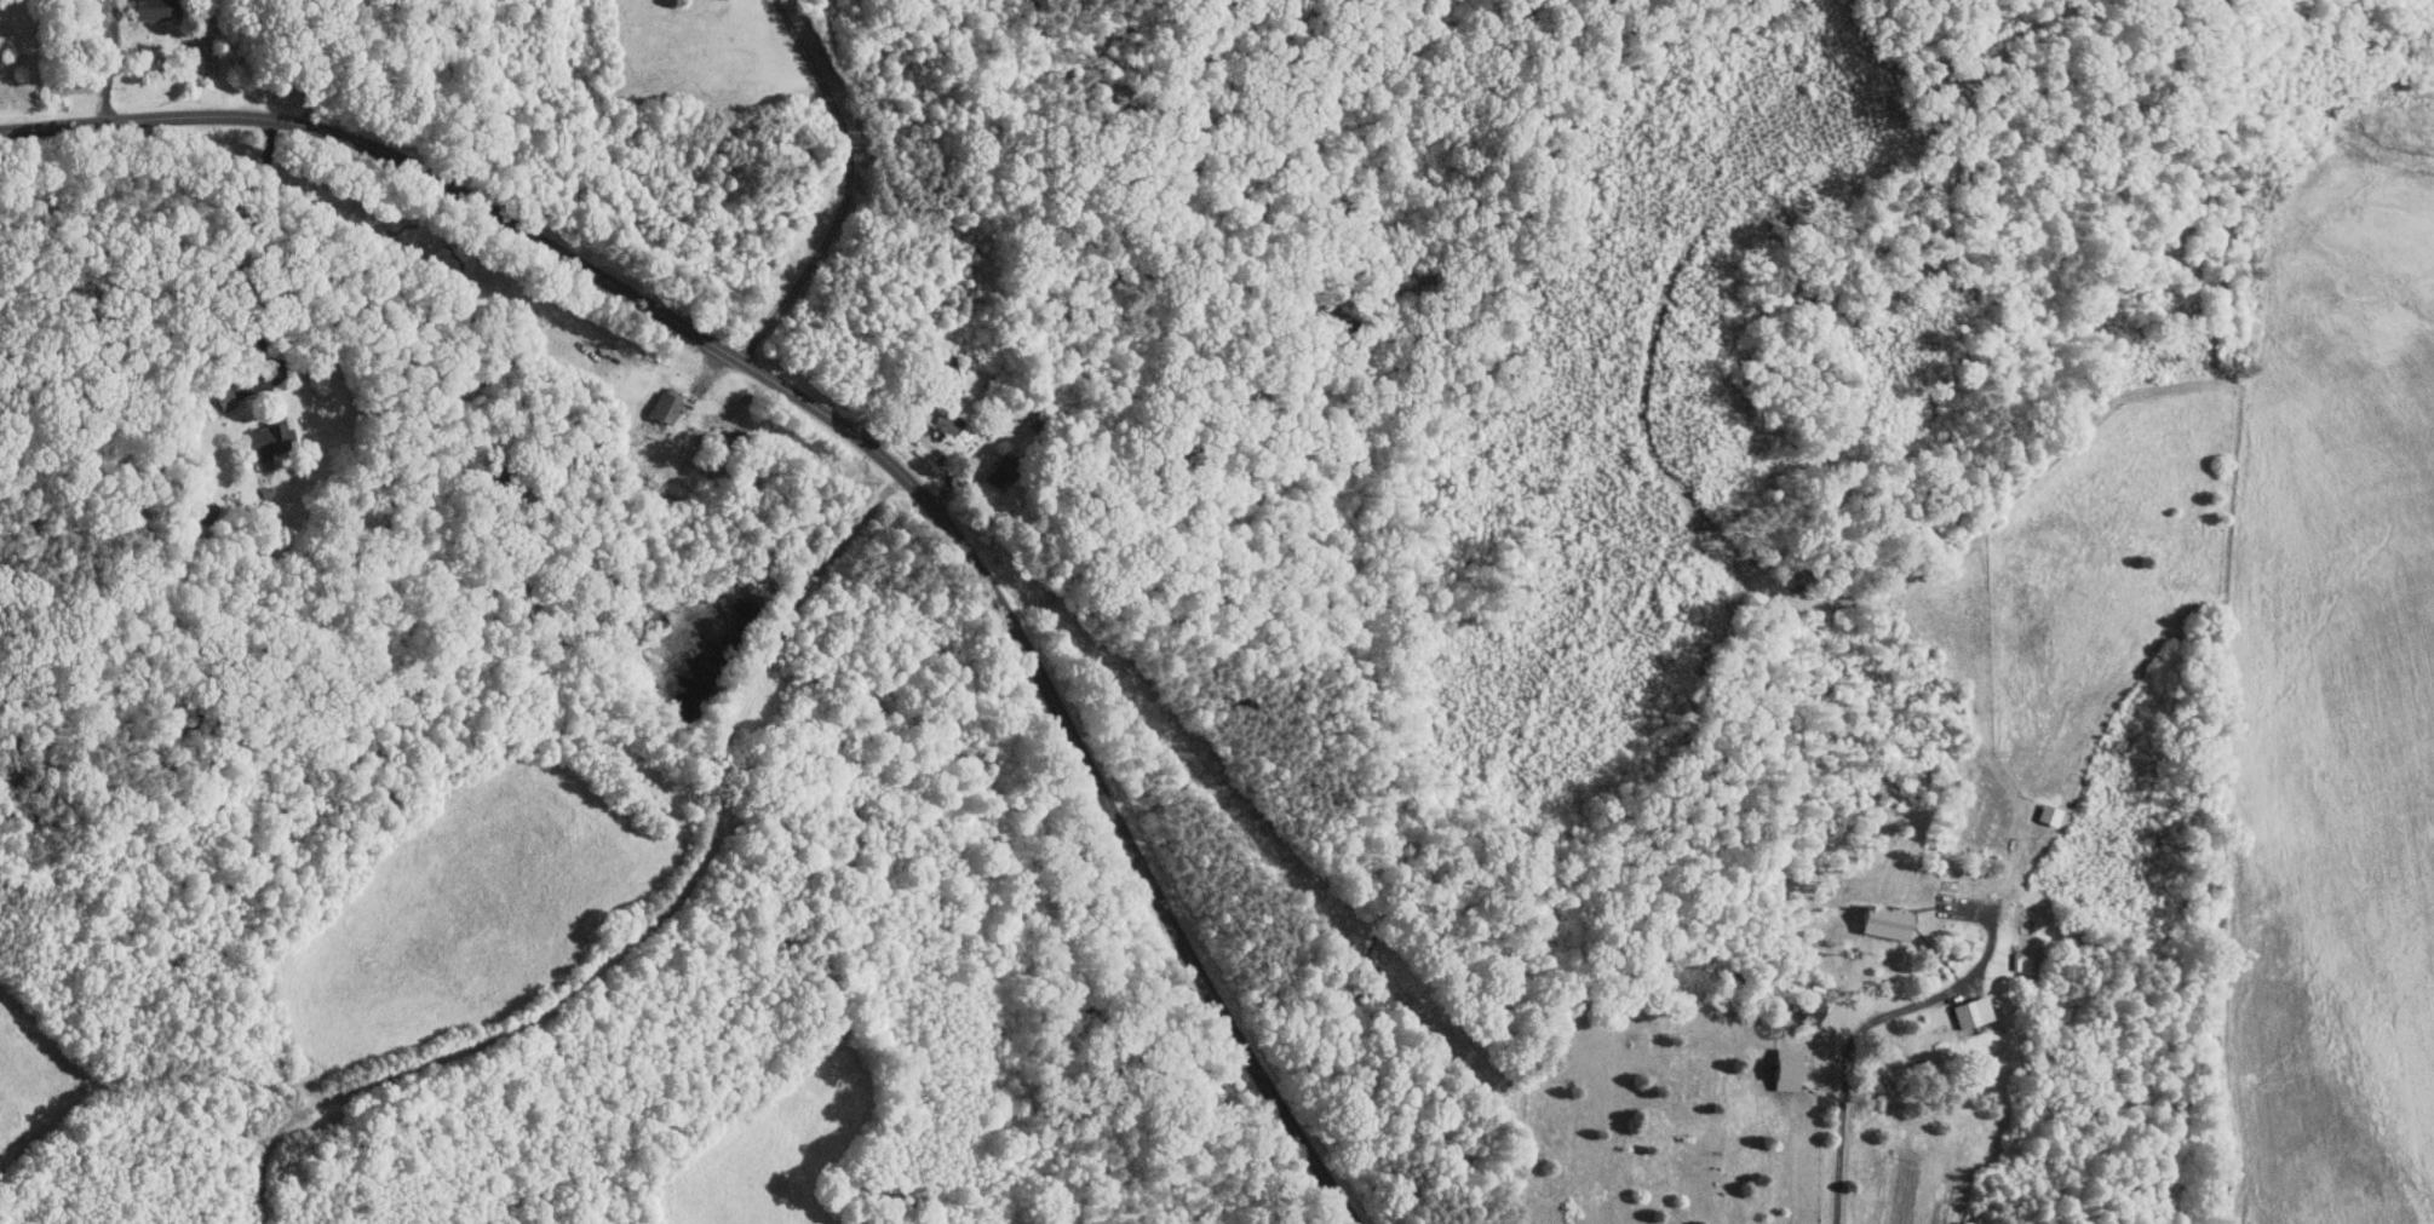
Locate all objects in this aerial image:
building: (153, 10)
road: (114, 58)
road: (850, 190)
road: (242, 253)
building: (225, 397)
building: (662, 406)
road: (857, 433)
building: (265, 441)
building: (1001, 473)
building: (1881, 920)
building: (1808, 1008)
building: (1965, 1012)
road: (1876, 1027)
building: (1781, 1068)

